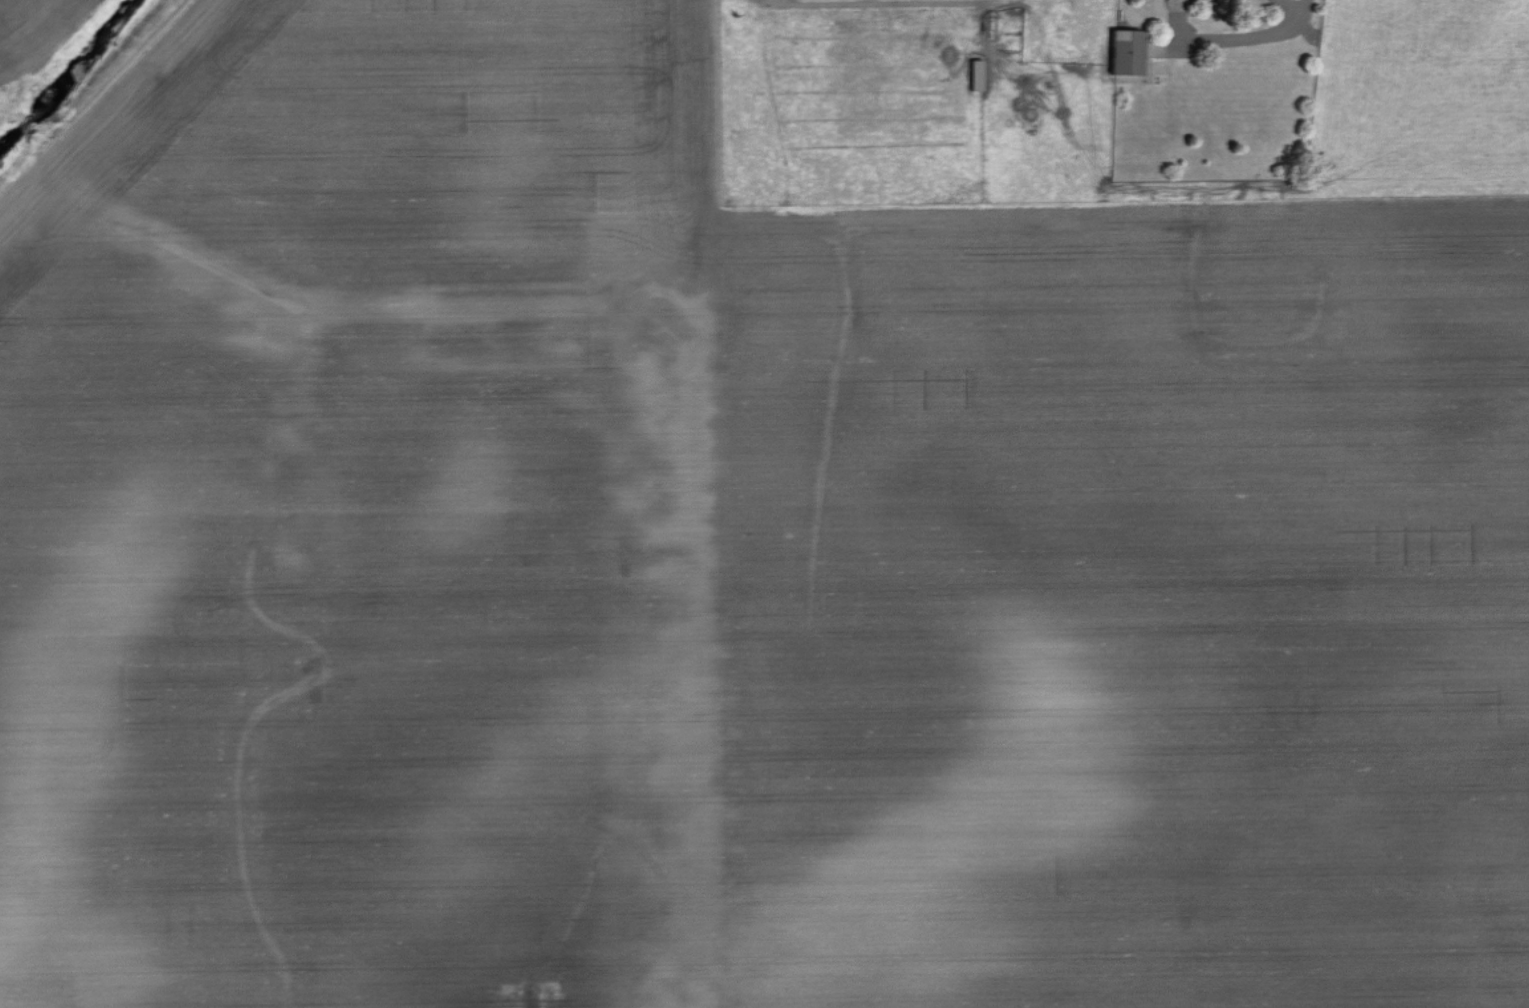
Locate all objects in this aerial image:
road: (1259, 34)
building: (1135, 53)
building: (983, 76)
road: (711, 504)

